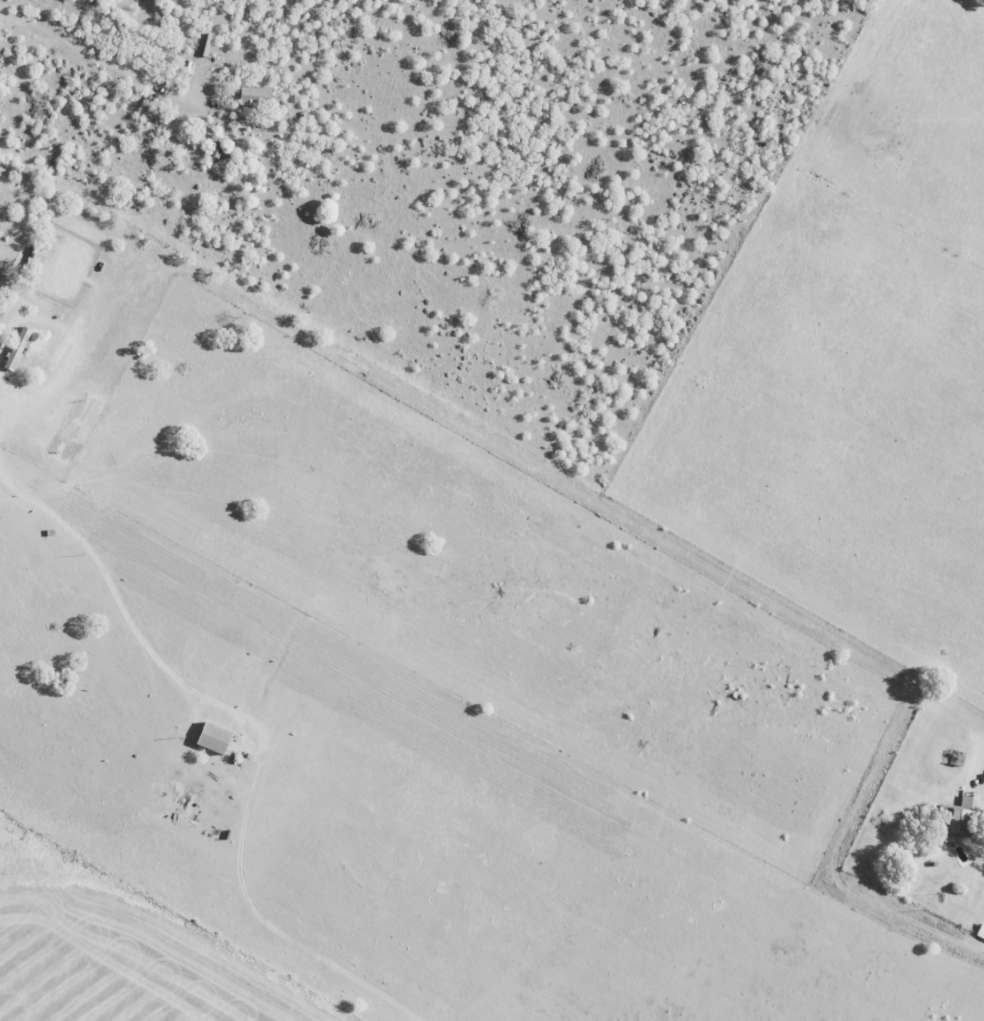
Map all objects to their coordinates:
road: (104, 63)
building: (258, 96)
road: (69, 339)
building: (19, 349)
road: (2, 386)
road: (2, 396)
road: (630, 519)
road: (124, 603)
building: (217, 738)
building: (956, 815)

